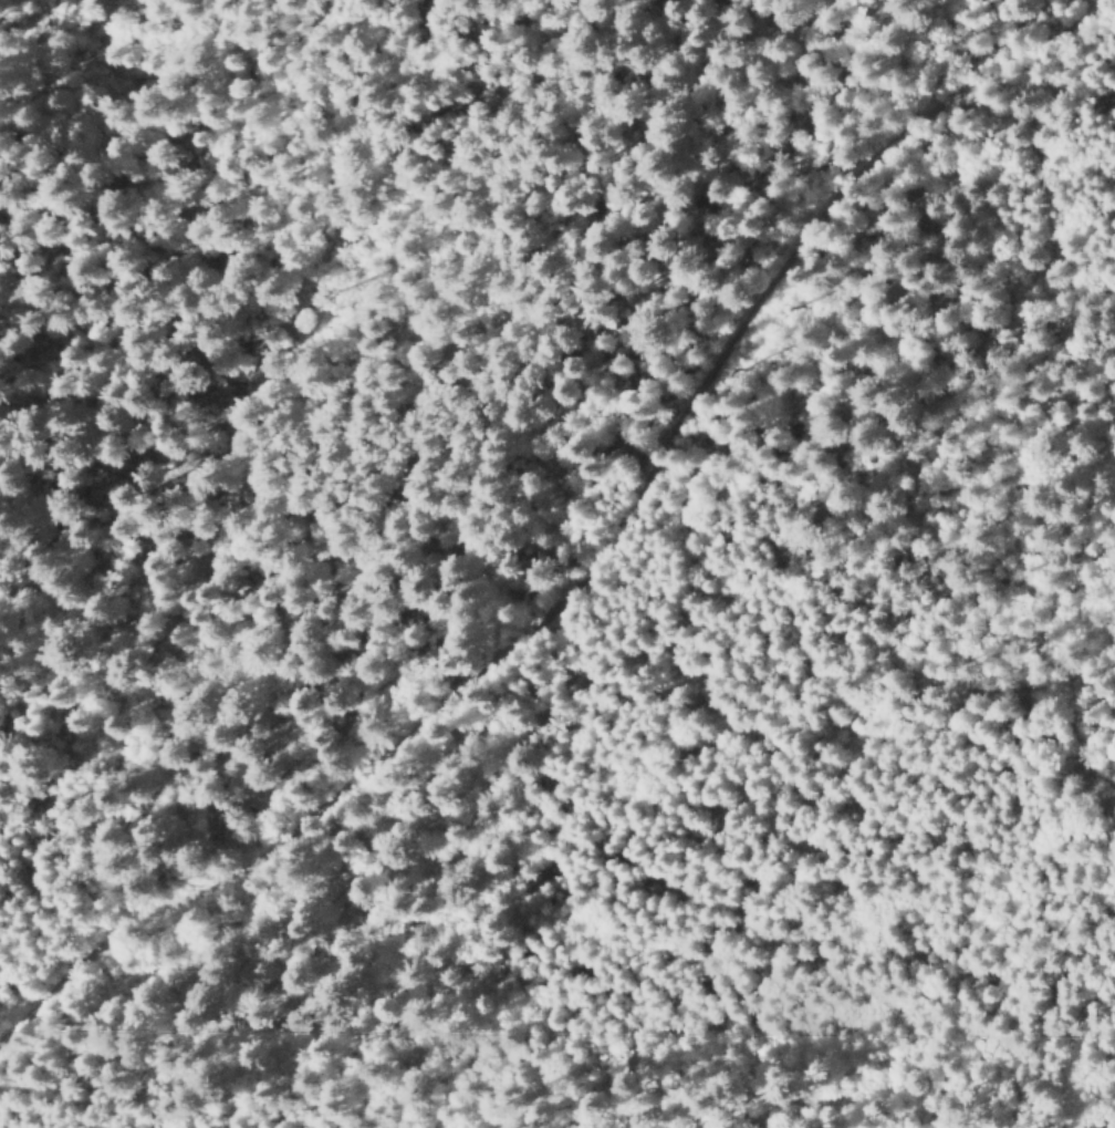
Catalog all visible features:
road: (594, 545)

